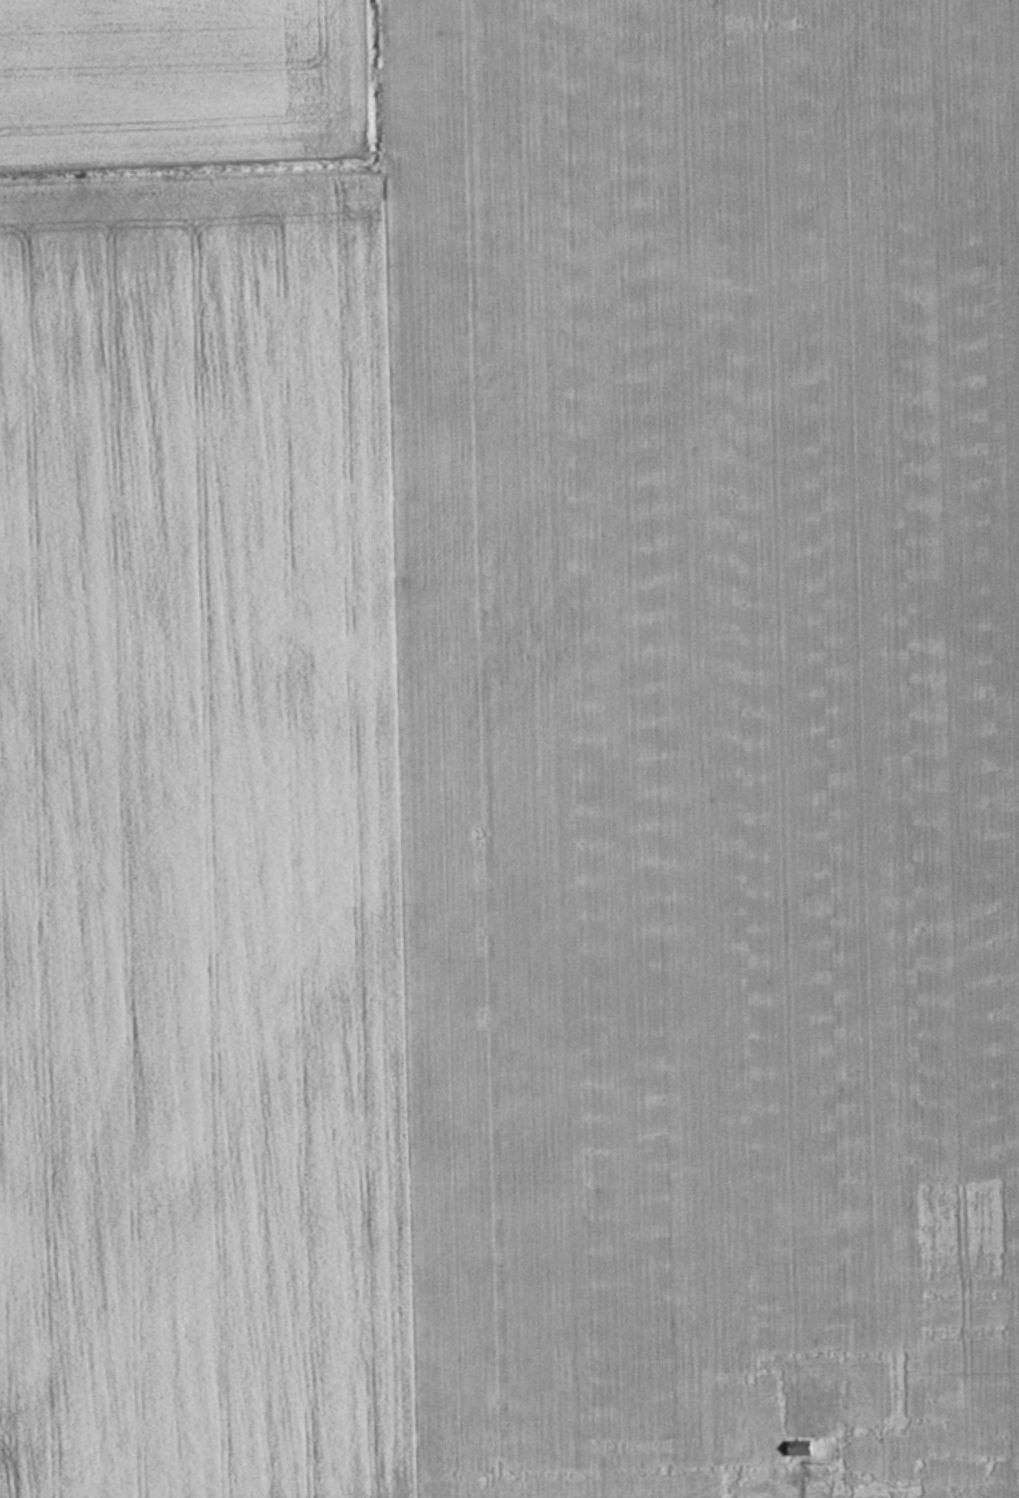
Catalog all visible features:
building: (802, 1448)

